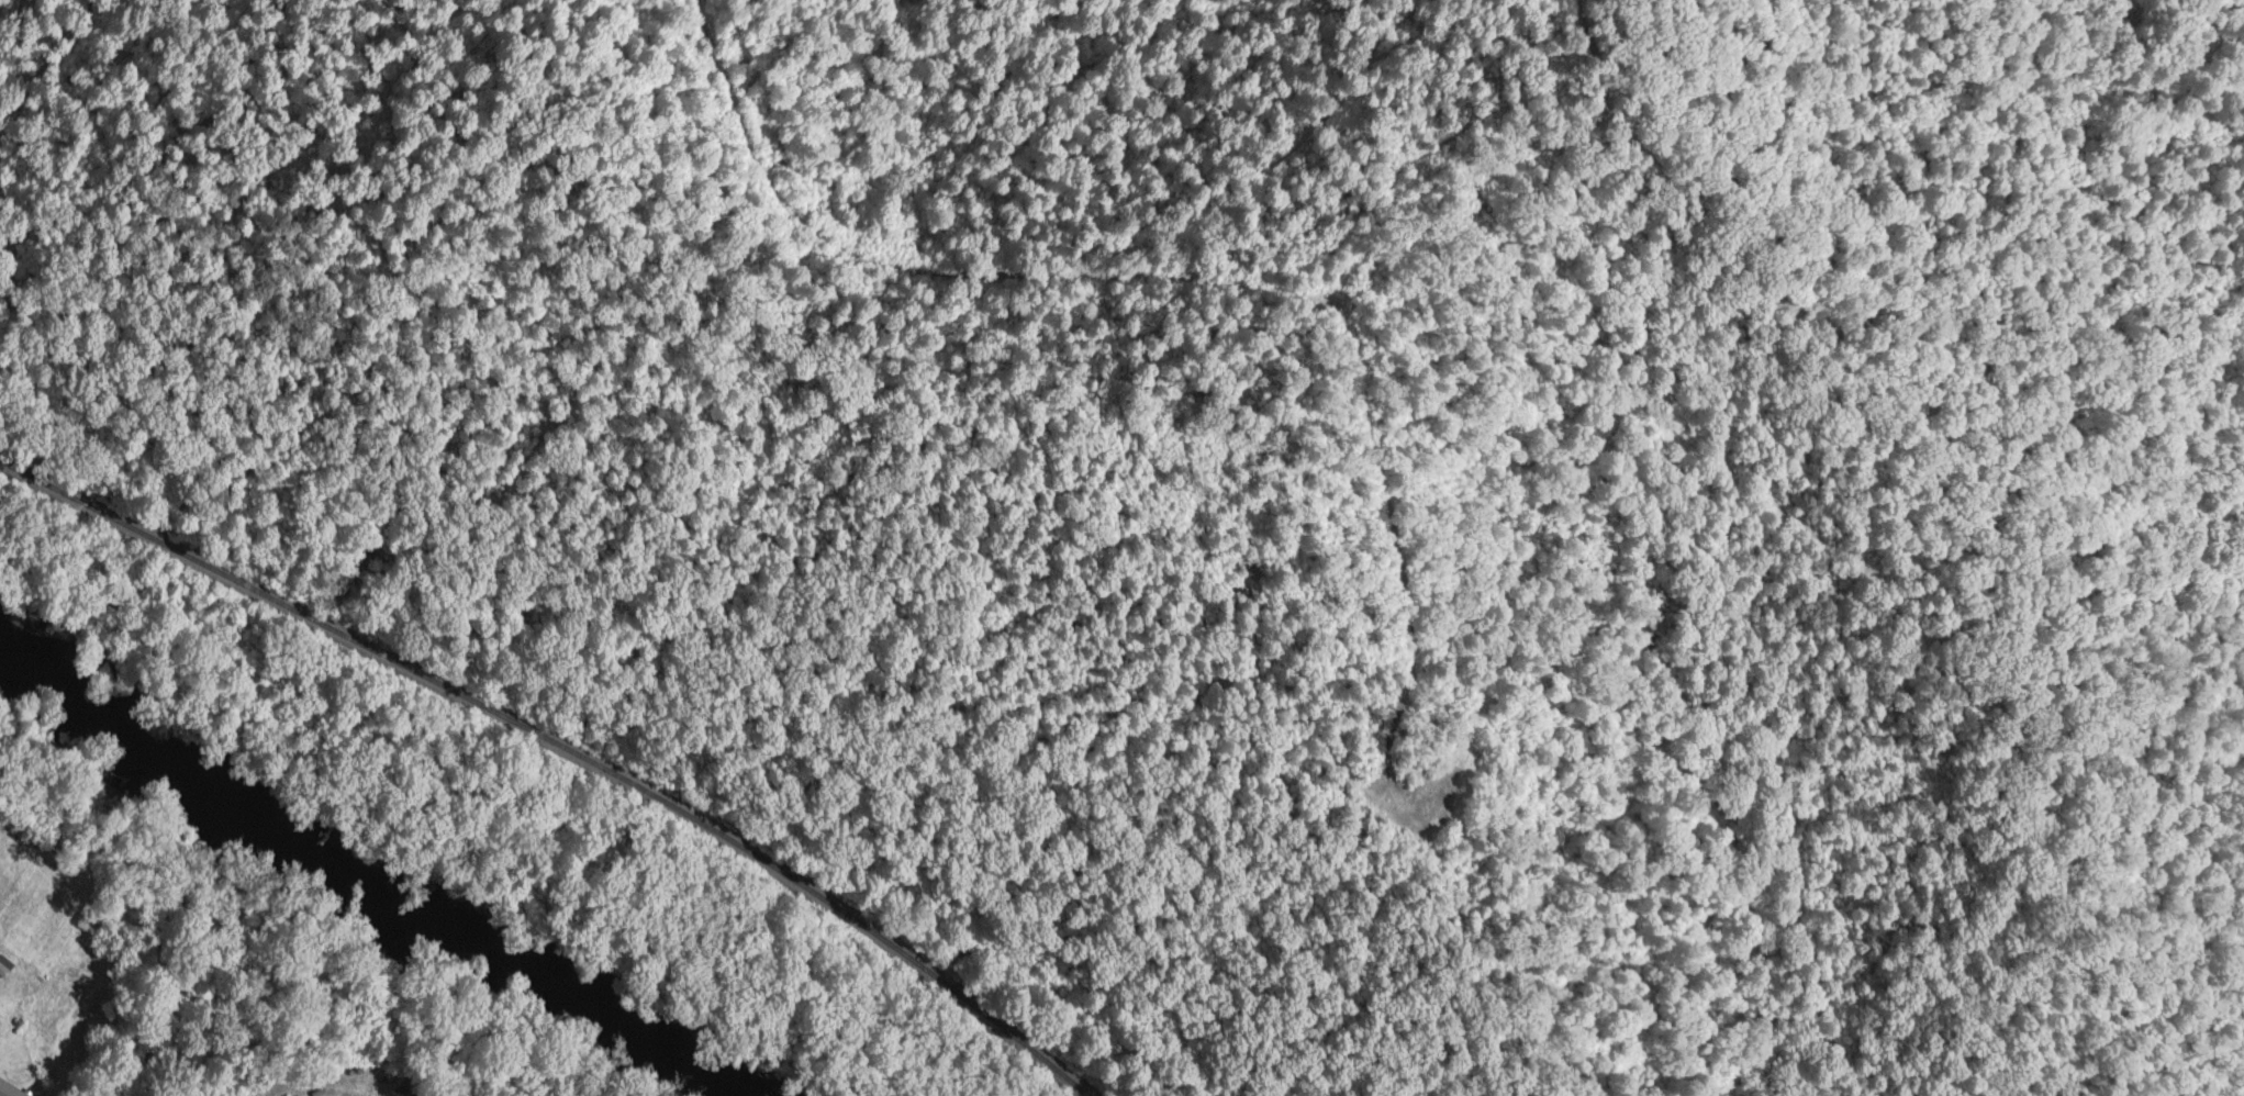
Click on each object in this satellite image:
railway: (563, 747)
river: (199, 782)
building: (3, 965)
river: (550, 1006)
building: (0, 1024)
building: (10, 1089)

